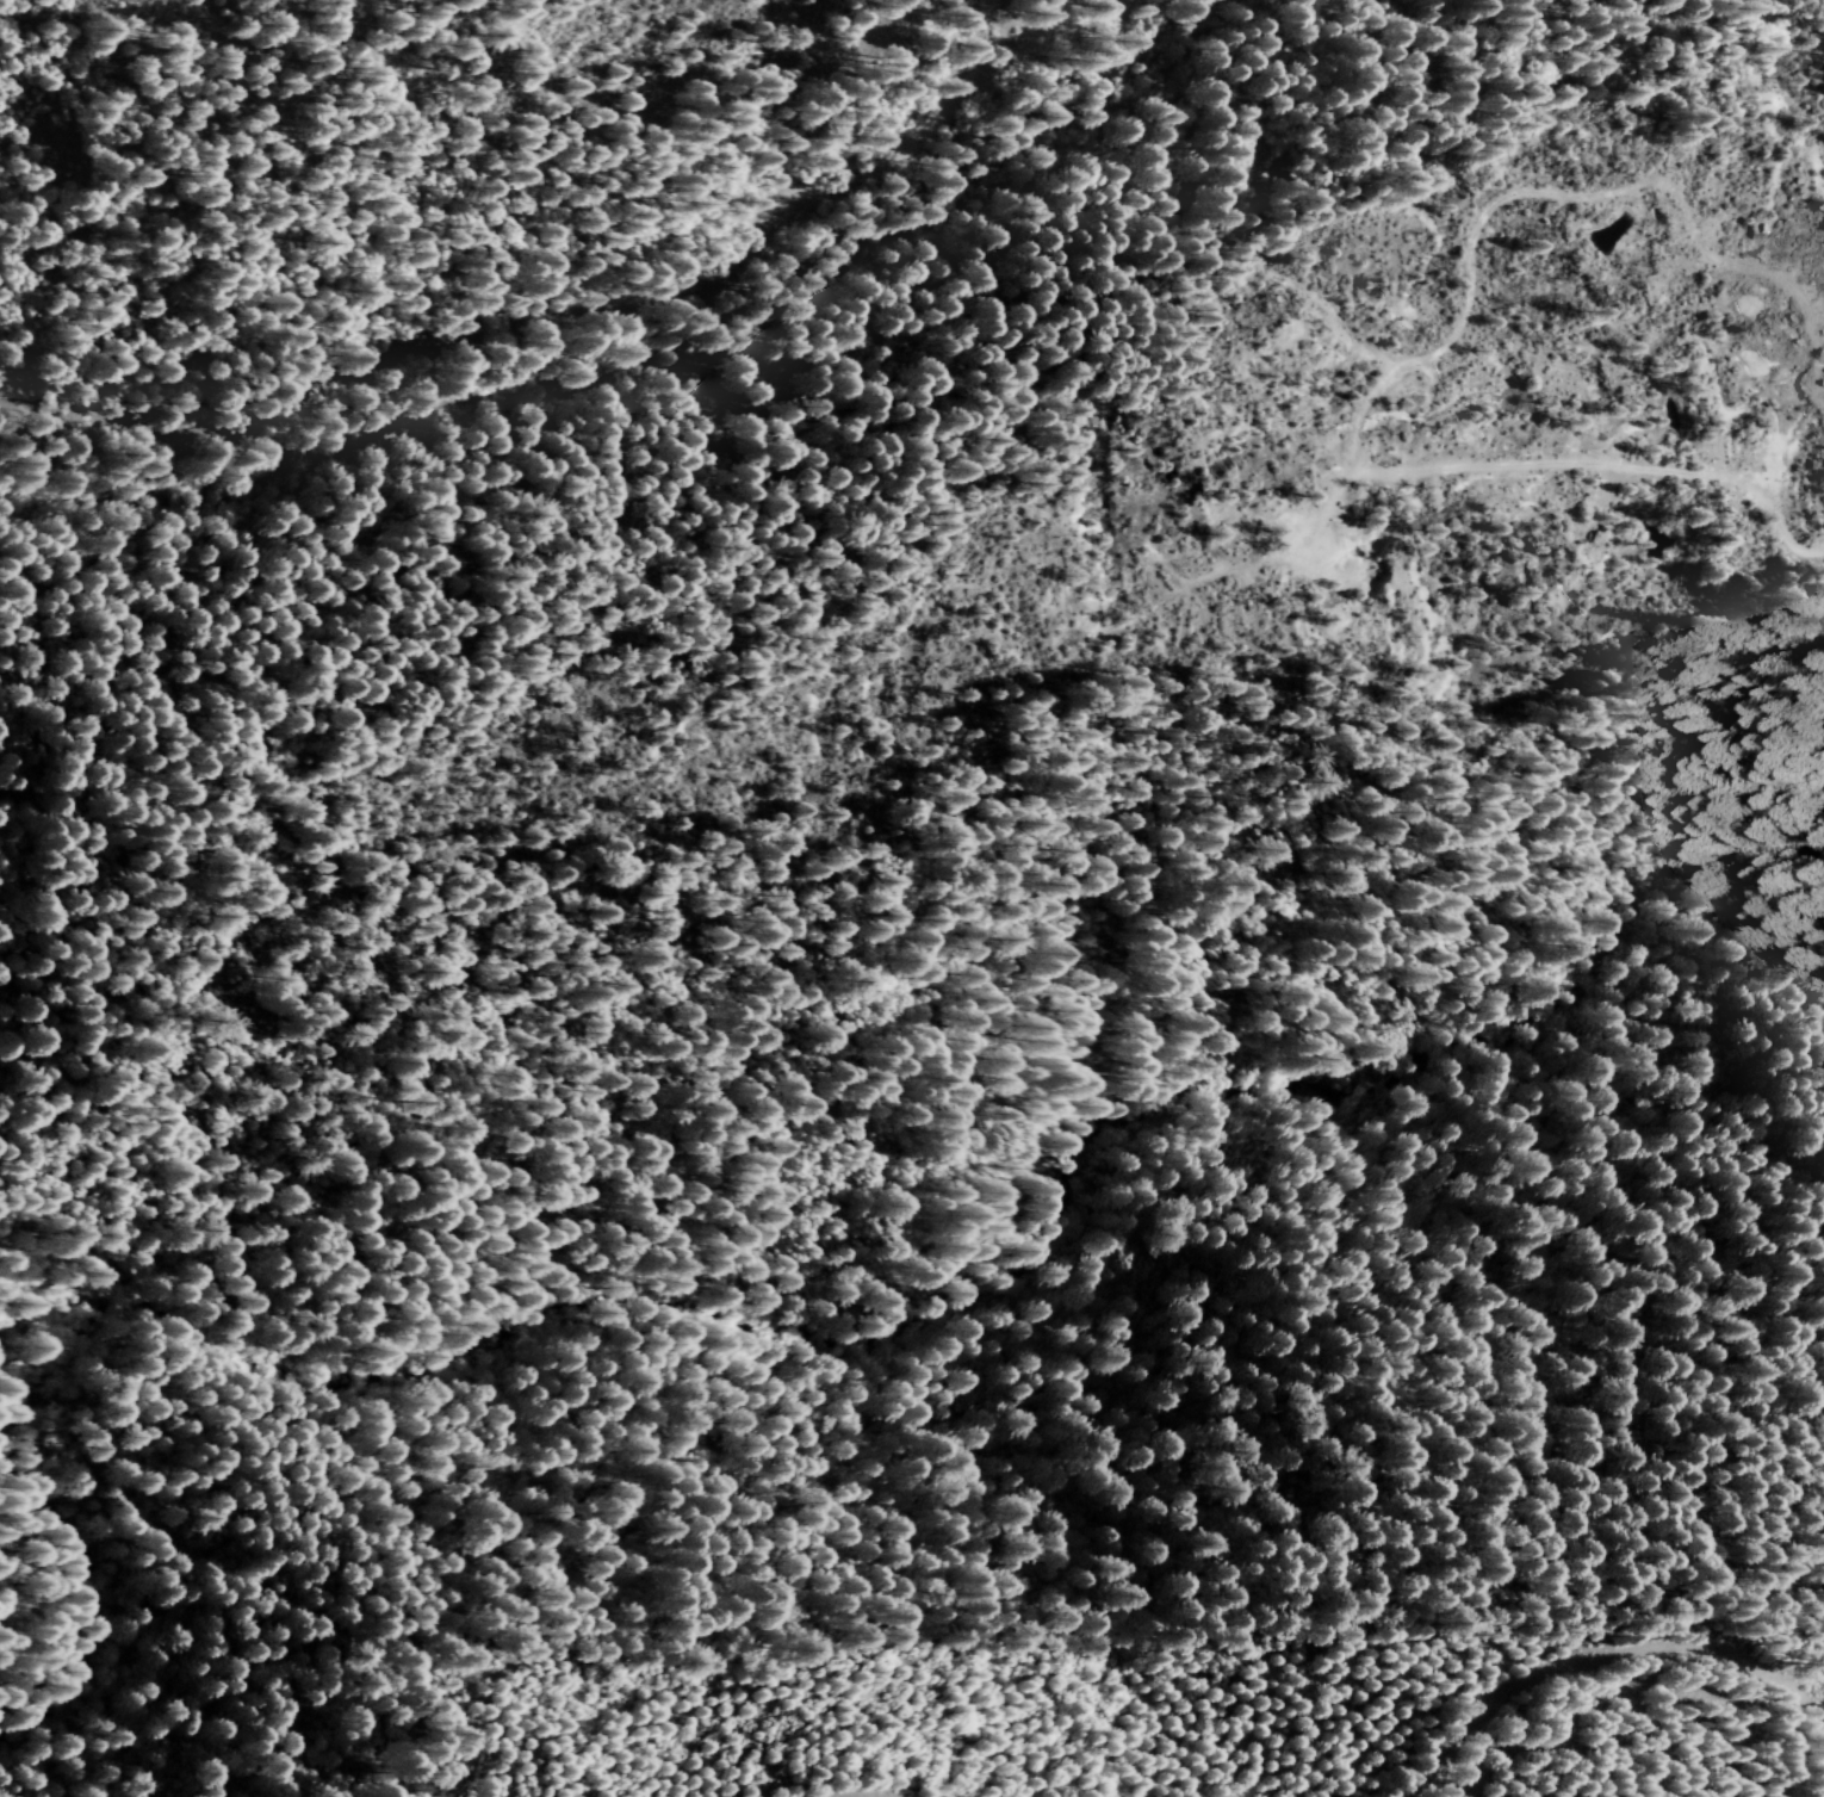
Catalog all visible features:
park: (407, 167)
road: (590, 310)
park: (733, 1204)
road: (10, 1603)
road: (1578, 1641)
park: (1010, 1712)
road: (867, 1786)

